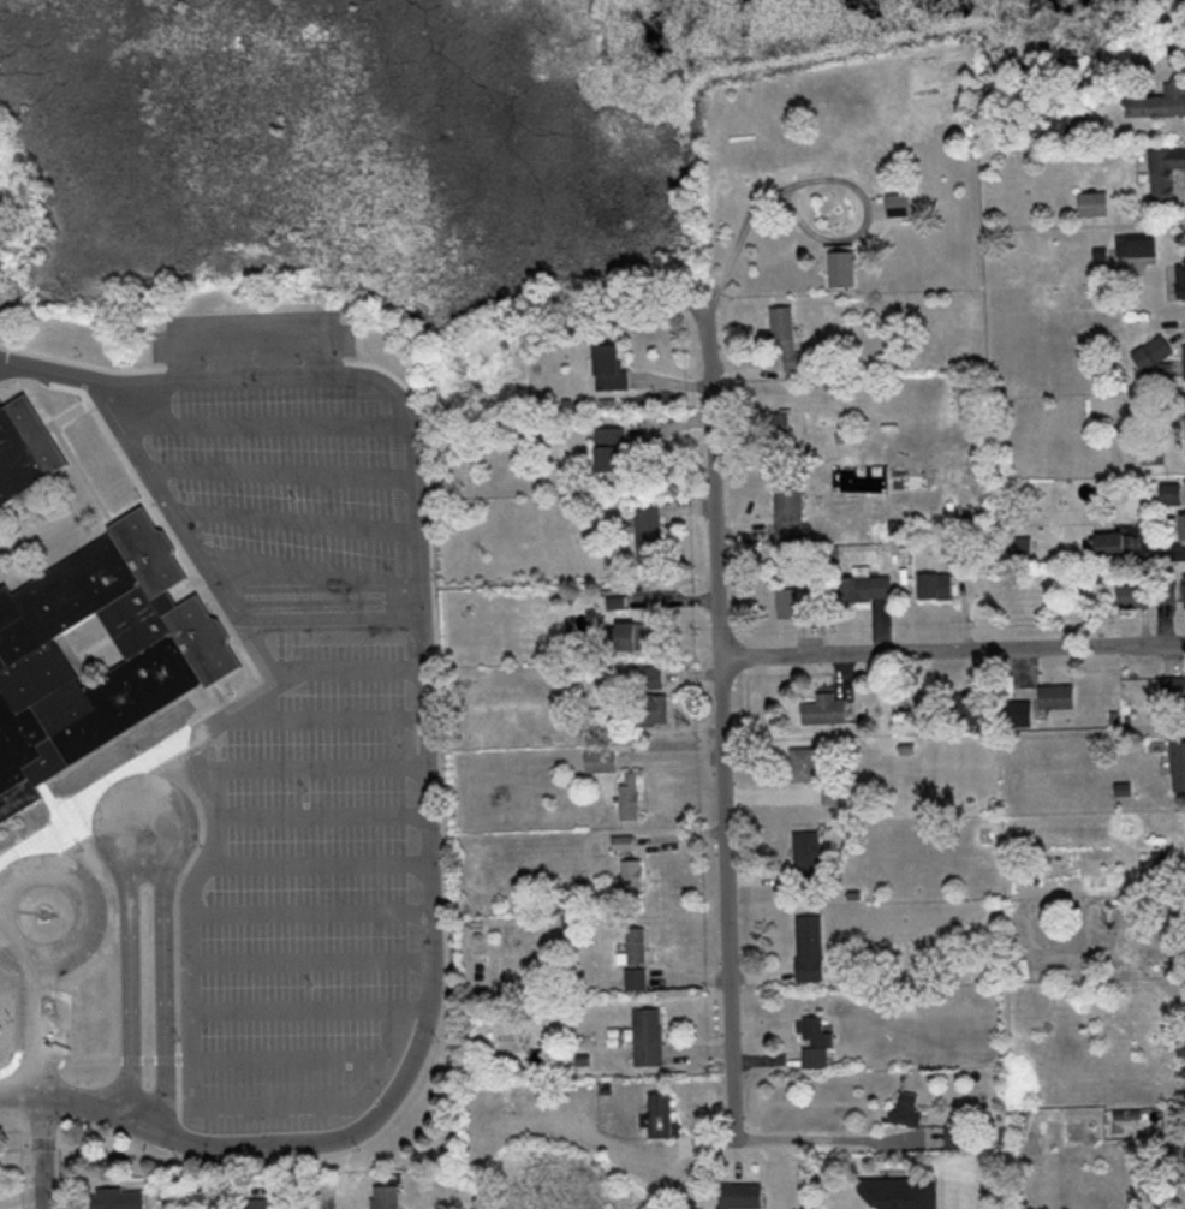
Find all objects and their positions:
building: (1180, 54)
building: (1162, 100)
building: (1161, 172)
building: (1095, 203)
building: (898, 204)
road: (754, 212)
building: (1137, 246)
building: (842, 266)
building: (1183, 273)
building: (787, 338)
road: (1, 358)
road: (1, 359)
building: (613, 368)
road: (77, 370)
road: (61, 419)
road: (257, 429)
building: (612, 448)
building: (23, 452)
parking lot: (280, 477)
road: (76, 478)
road: (274, 480)
building: (1172, 493)
building: (790, 508)
building: (1183, 525)
road: (287, 528)
building: (649, 528)
building: (1113, 544)
road: (302, 577)
road: (185, 578)
road: (202, 579)
building: (936, 585)
building: (864, 586)
building: (1169, 591)
road: (180, 592)
building: (1135, 596)
building: (792, 602)
building: (629, 636)
road: (953, 648)
building: (95, 656)
road: (353, 674)
building: (651, 677)
building: (1174, 689)
building: (1058, 696)
building: (651, 708)
building: (970, 708)
building: (826, 709)
road: (318, 722)
road: (722, 722)
road: (418, 760)
building: (601, 760)
building: (805, 764)
building: (1178, 766)
road: (305, 773)
road: (142, 787)
building: (630, 794)
building: (833, 794)
road: (55, 798)
road: (77, 803)
road: (312, 821)
building: (624, 842)
building: (809, 856)
road: (201, 866)
road: (311, 869)
building: (632, 876)
parking lot: (296, 889)
road: (303, 915)
road: (81, 918)
road: (167, 929)
building: (636, 946)
building: (811, 948)
road: (107, 959)
road: (85, 963)
road: (304, 965)
building: (1, 978)
building: (636, 979)
road: (4, 985)
road: (288, 1014)
road: (8, 1026)
road: (38, 1032)
building: (649, 1037)
building: (816, 1044)
road: (383, 1052)
road: (119, 1064)
road: (138, 1064)
road: (157, 1064)
road: (281, 1065)
road: (32, 1066)
road: (11, 1094)
road: (264, 1110)
building: (907, 1112)
building: (662, 1116)
building: (960, 1136)
road: (826, 1138)
road: (35, 1155)
building: (744, 1196)
building: (119, 1198)
road: (324, 1201)

